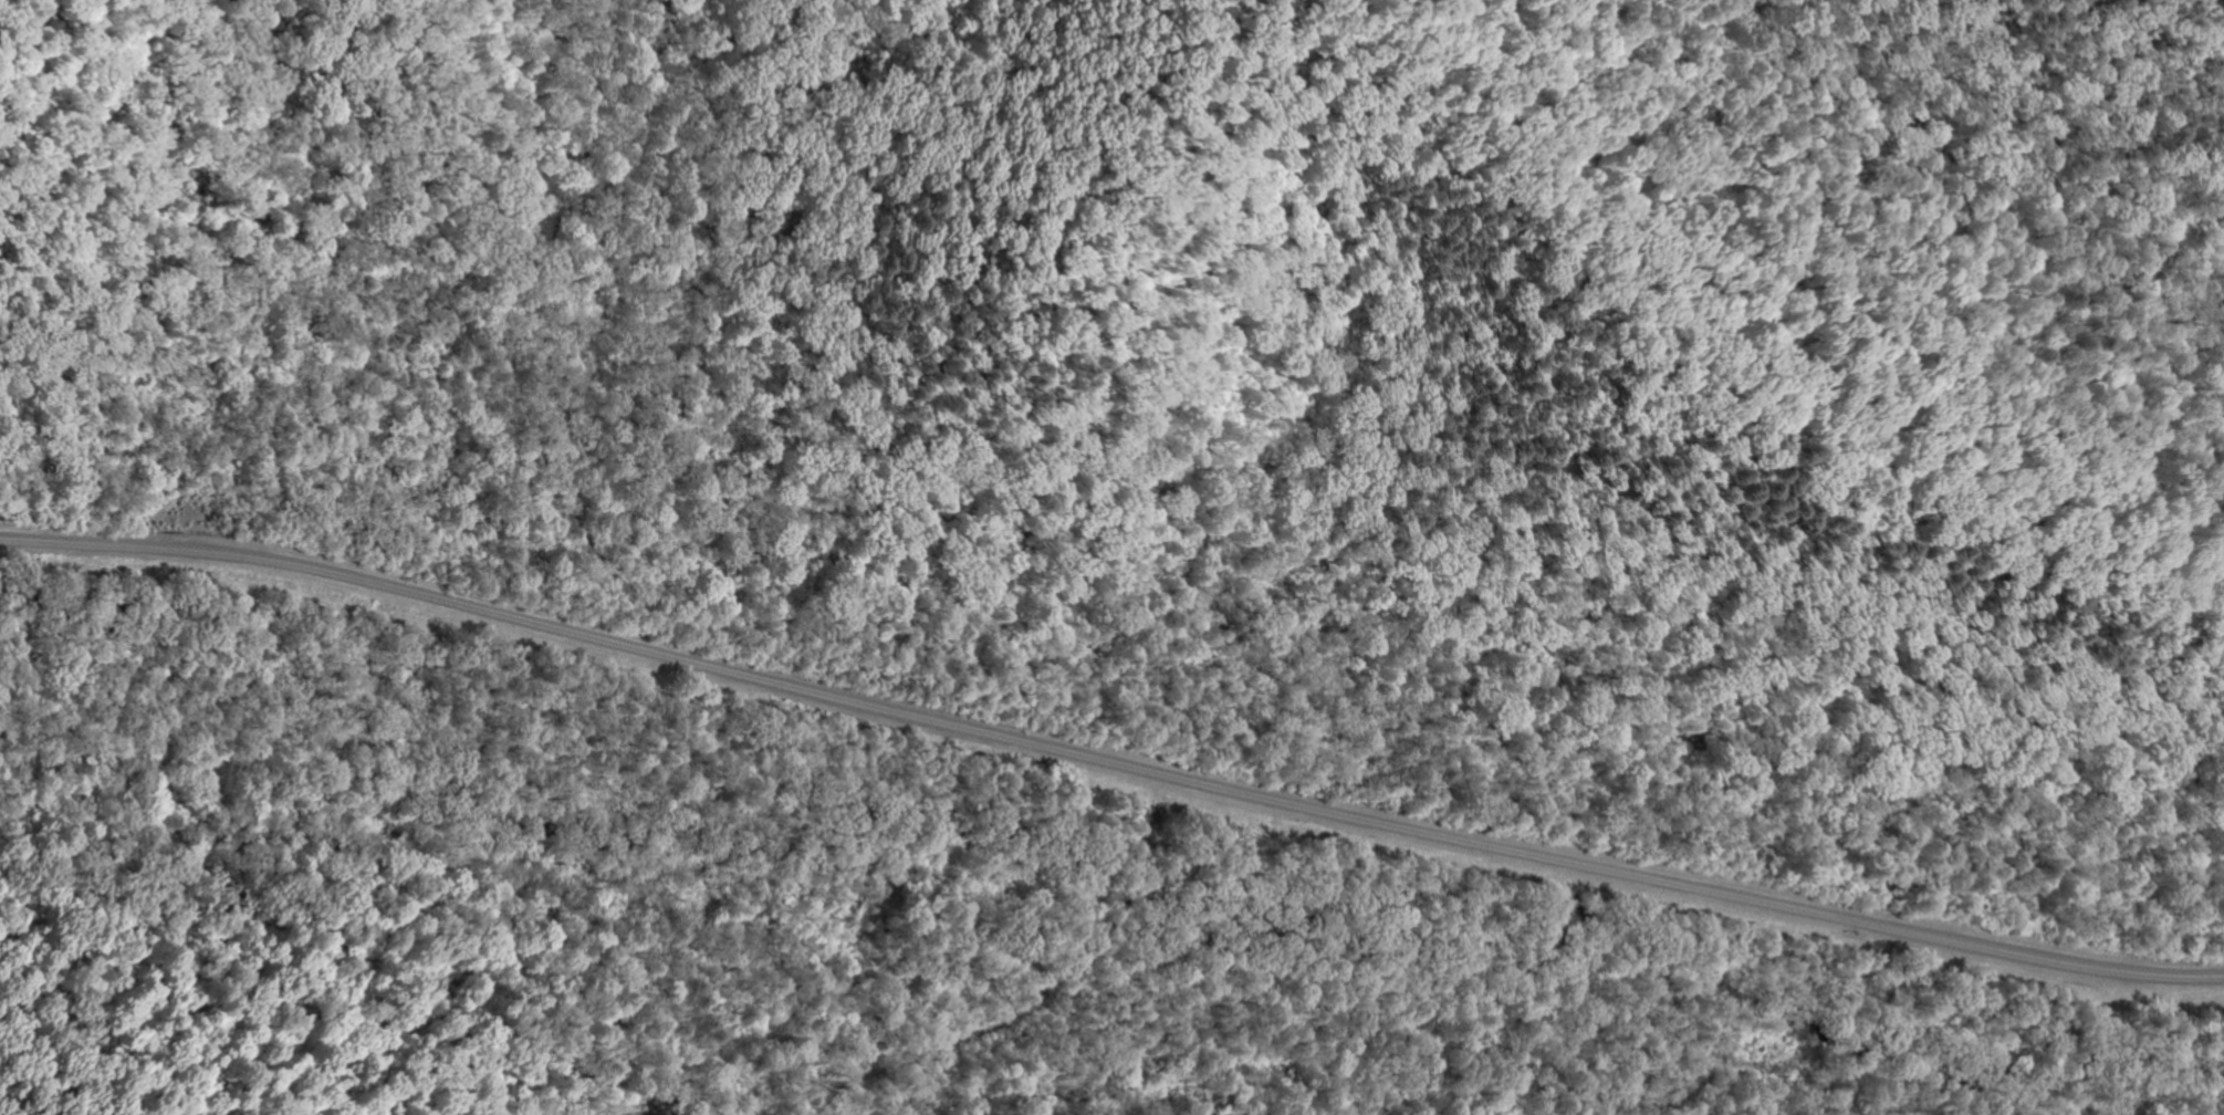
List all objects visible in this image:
road: (1109, 763)

